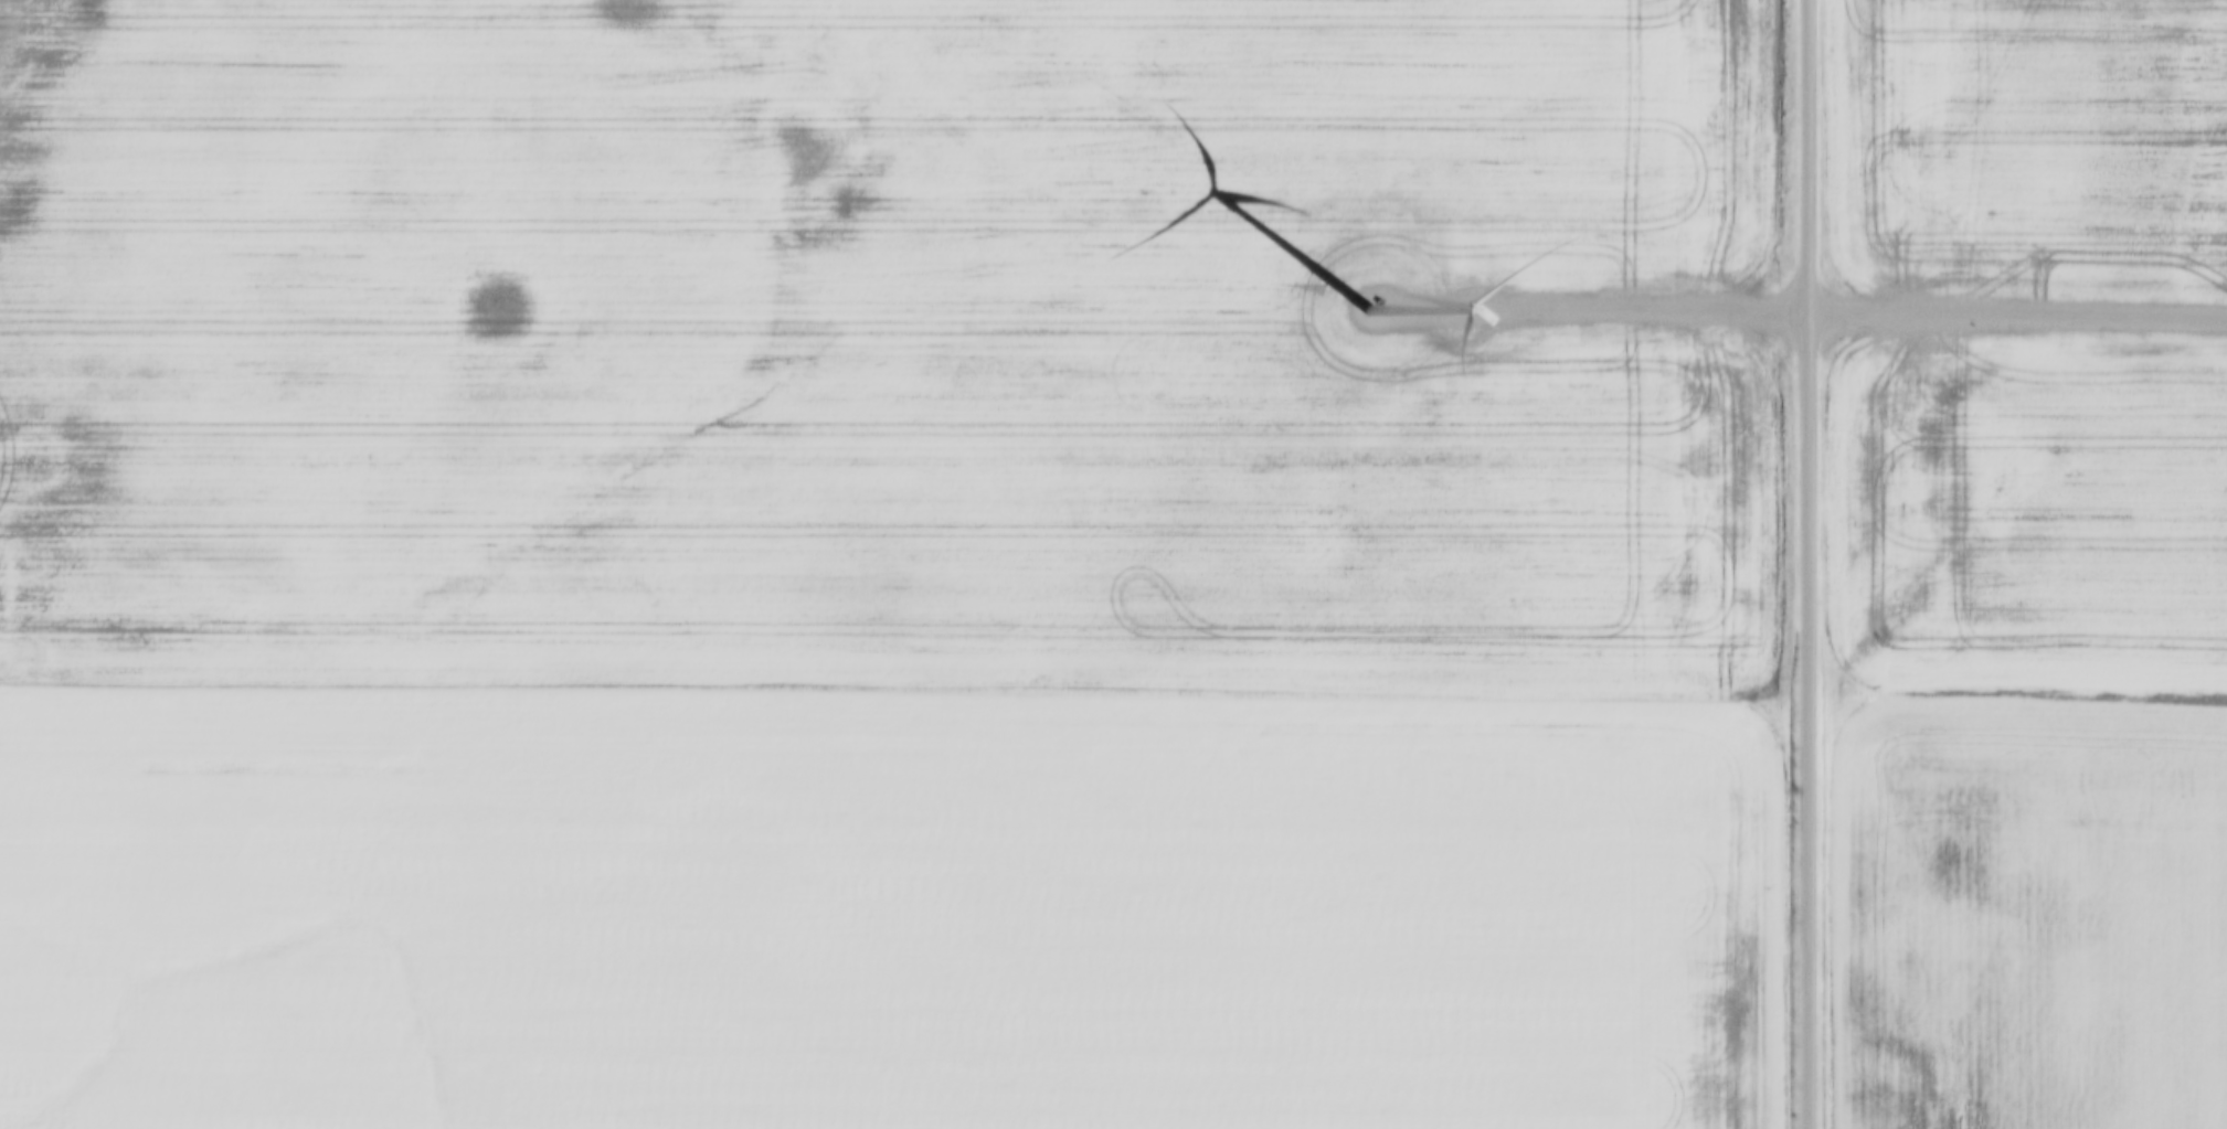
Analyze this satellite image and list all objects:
wind turbine: (1371, 311)
road: (1814, 564)

